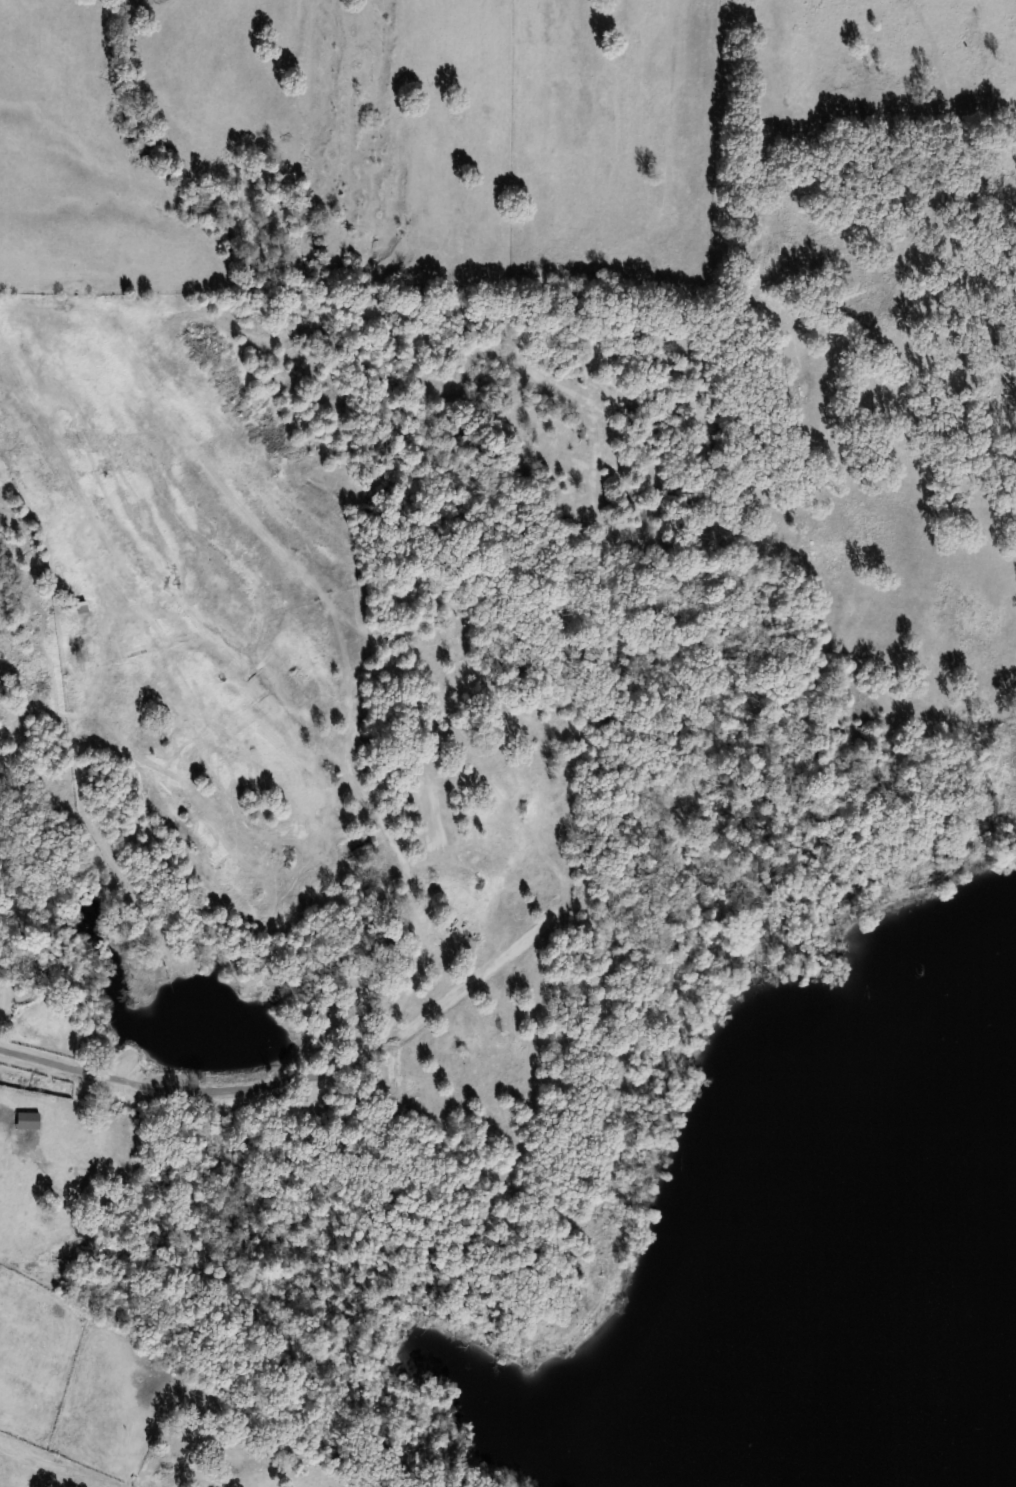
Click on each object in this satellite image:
building: (25, 1121)

